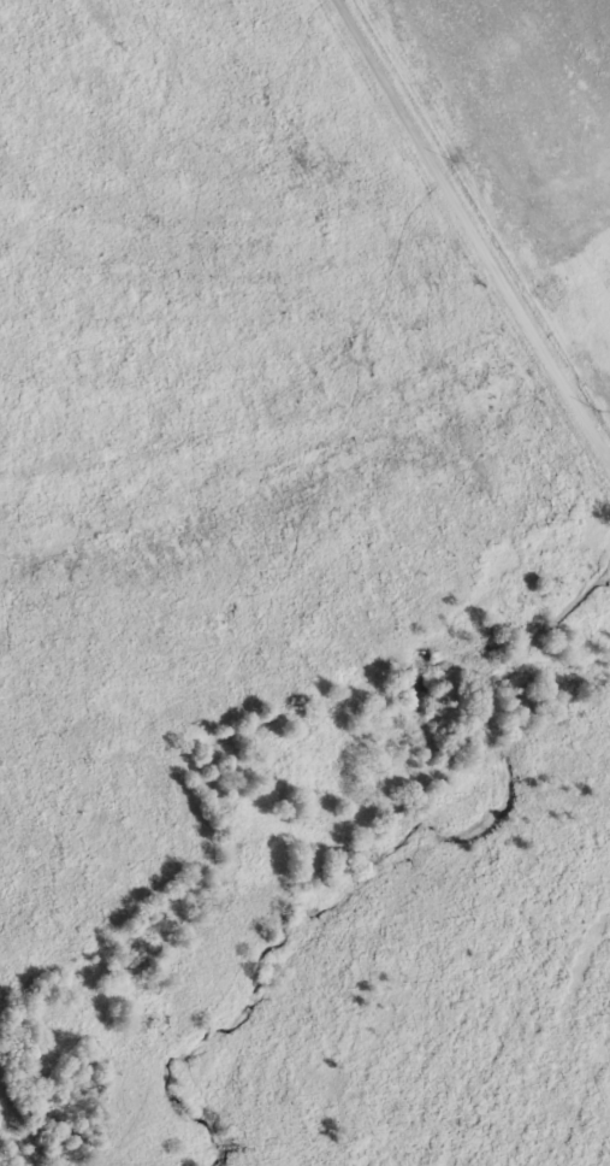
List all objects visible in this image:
road: (469, 231)

